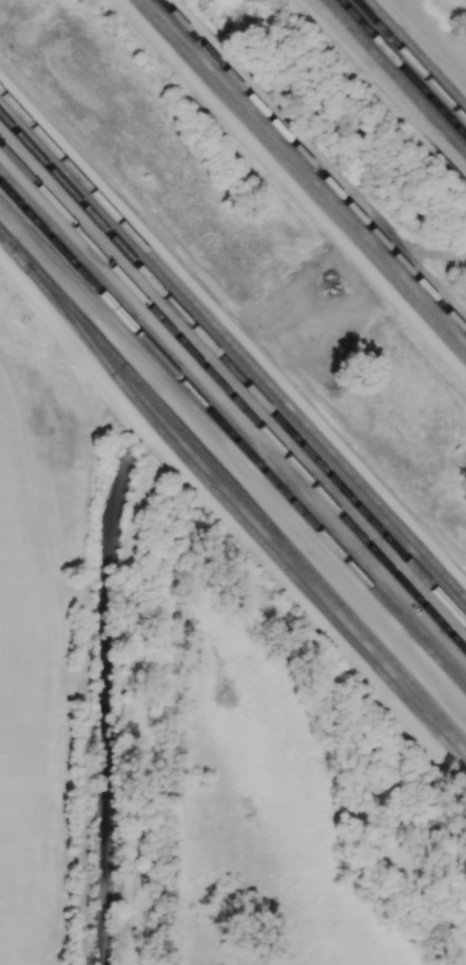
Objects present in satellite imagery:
railway: (417, 52)
railway: (213, 59)
railway: (411, 59)
railway: (402, 68)
railway: (396, 75)
road: (388, 84)
railway: (373, 91)
railway: (307, 160)
railway: (65, 238)
railway: (358, 238)
railway: (24, 256)
railway: (54, 290)
railway: (233, 346)
railway: (232, 369)
railway: (231, 396)
railway: (232, 435)
railway: (298, 492)
park: (2, 626)
park: (16, 843)
park: (16, 950)

